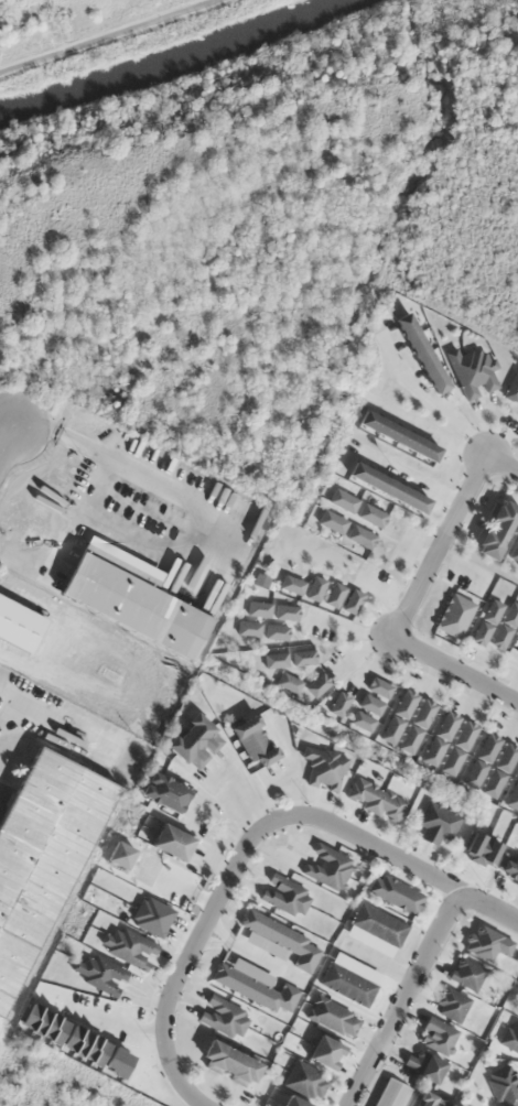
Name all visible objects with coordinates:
road: (106, 36)
park: (468, 164)
building: (420, 351)
building: (472, 371)
building: (512, 387)
building: (397, 435)
road: (7, 440)
building: (387, 487)
building: (342, 500)
building: (370, 516)
building: (332, 521)
building: (495, 529)
building: (359, 535)
building: (515, 551)
building: (292, 584)
road: (414, 589)
building: (334, 594)
building: (131, 597)
building: (352, 601)
building: (285, 611)
building: (486, 620)
building: (18, 625)
building: (505, 626)
building: (255, 630)
building: (276, 631)
building: (516, 647)
building: (303, 657)
building: (317, 683)
building: (378, 687)
building: (370, 704)
building: (398, 716)
building: (358, 720)
building: (417, 725)
building: (440, 738)
building: (194, 740)
building: (253, 740)
building: (458, 747)
building: (481, 760)
building: (324, 767)
building: (499, 769)
building: (169, 794)
building: (512, 795)
building: (376, 799)
building: (435, 822)
building: (170, 843)
building: (39, 859)
building: (326, 866)
road: (234, 868)
building: (508, 868)
building: (284, 896)
road: (487, 907)
building: (378, 924)
building: (283, 939)
building: (128, 946)
building: (466, 973)
building: (101, 975)
building: (349, 979)
road: (402, 997)
building: (451, 1004)
building: (332, 1016)
building: (223, 1017)
building: (436, 1035)
building: (510, 1037)
building: (325, 1052)
building: (228, 1063)
building: (422, 1065)
building: (305, 1081)
building: (503, 1086)
building: (391, 1094)
building: (292, 1102)
building: (425, 1102)

